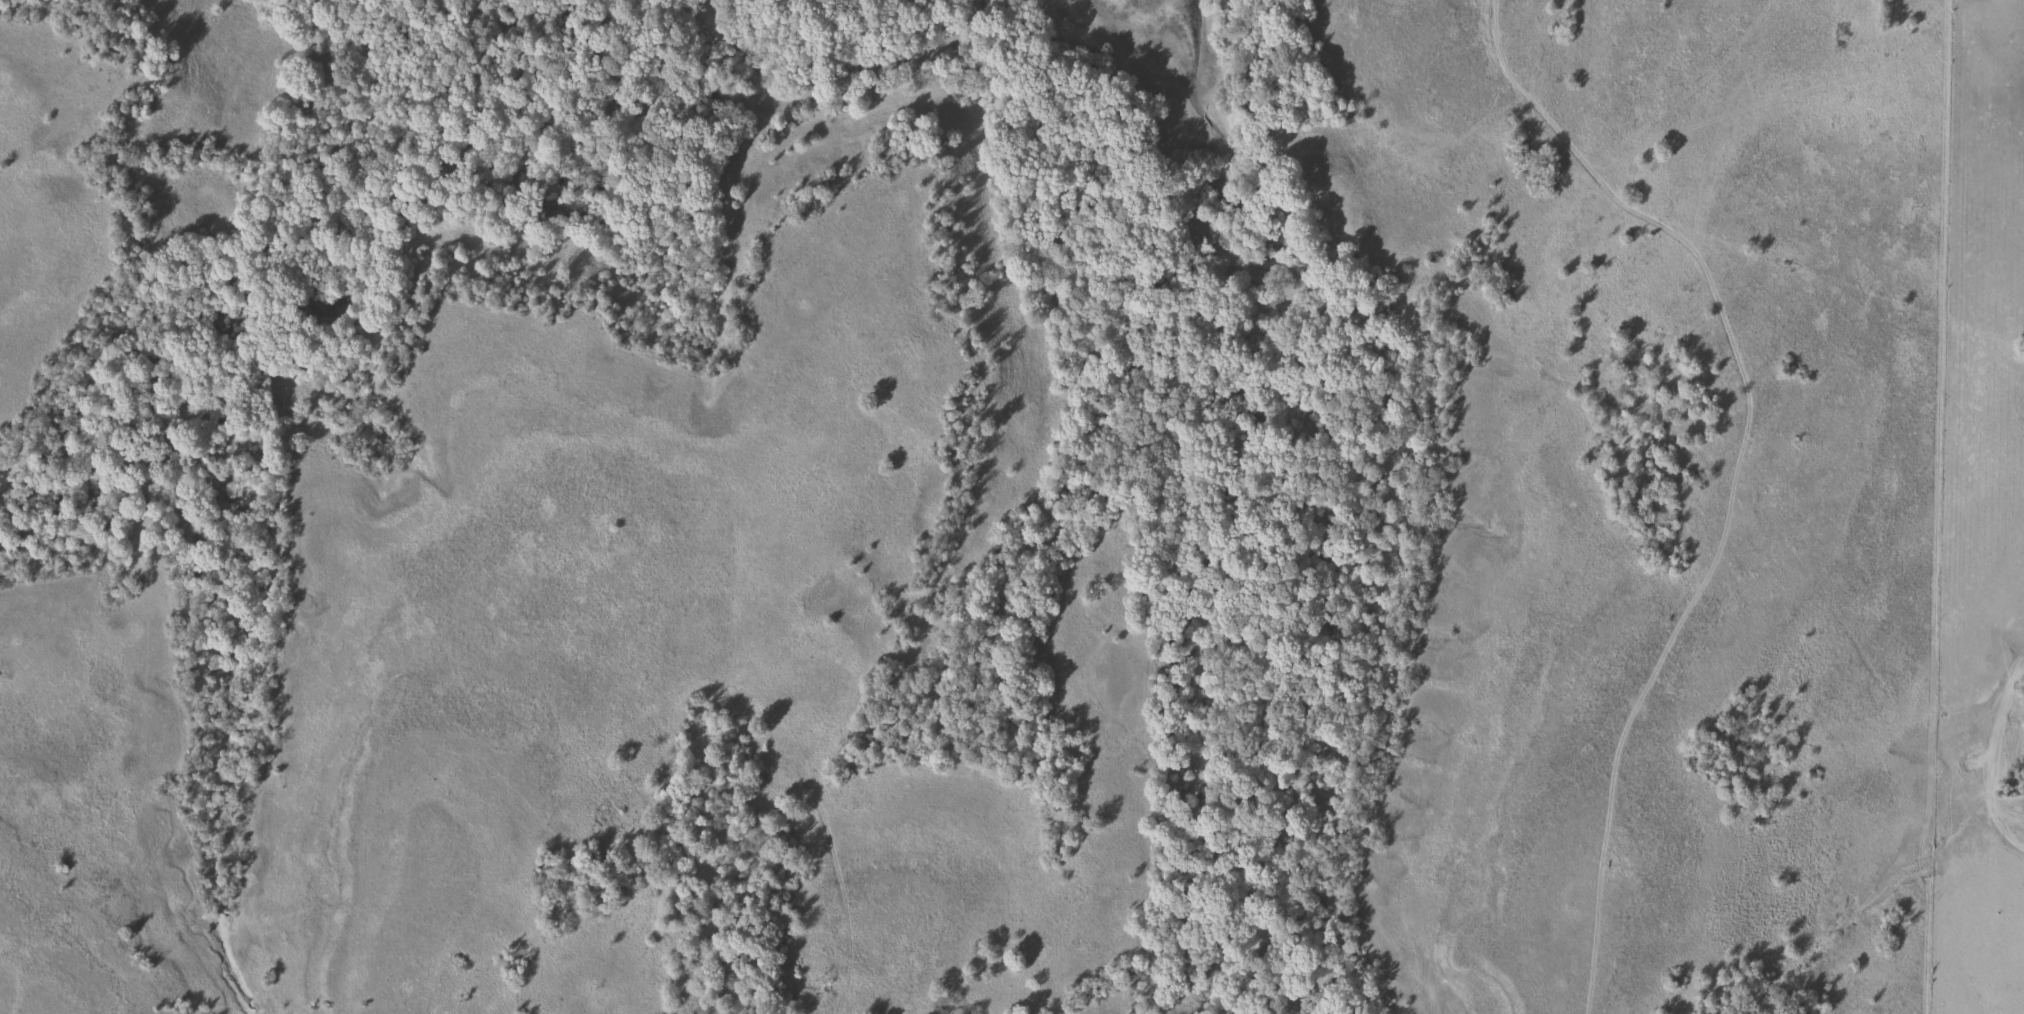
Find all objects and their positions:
road: (2000, 764)

